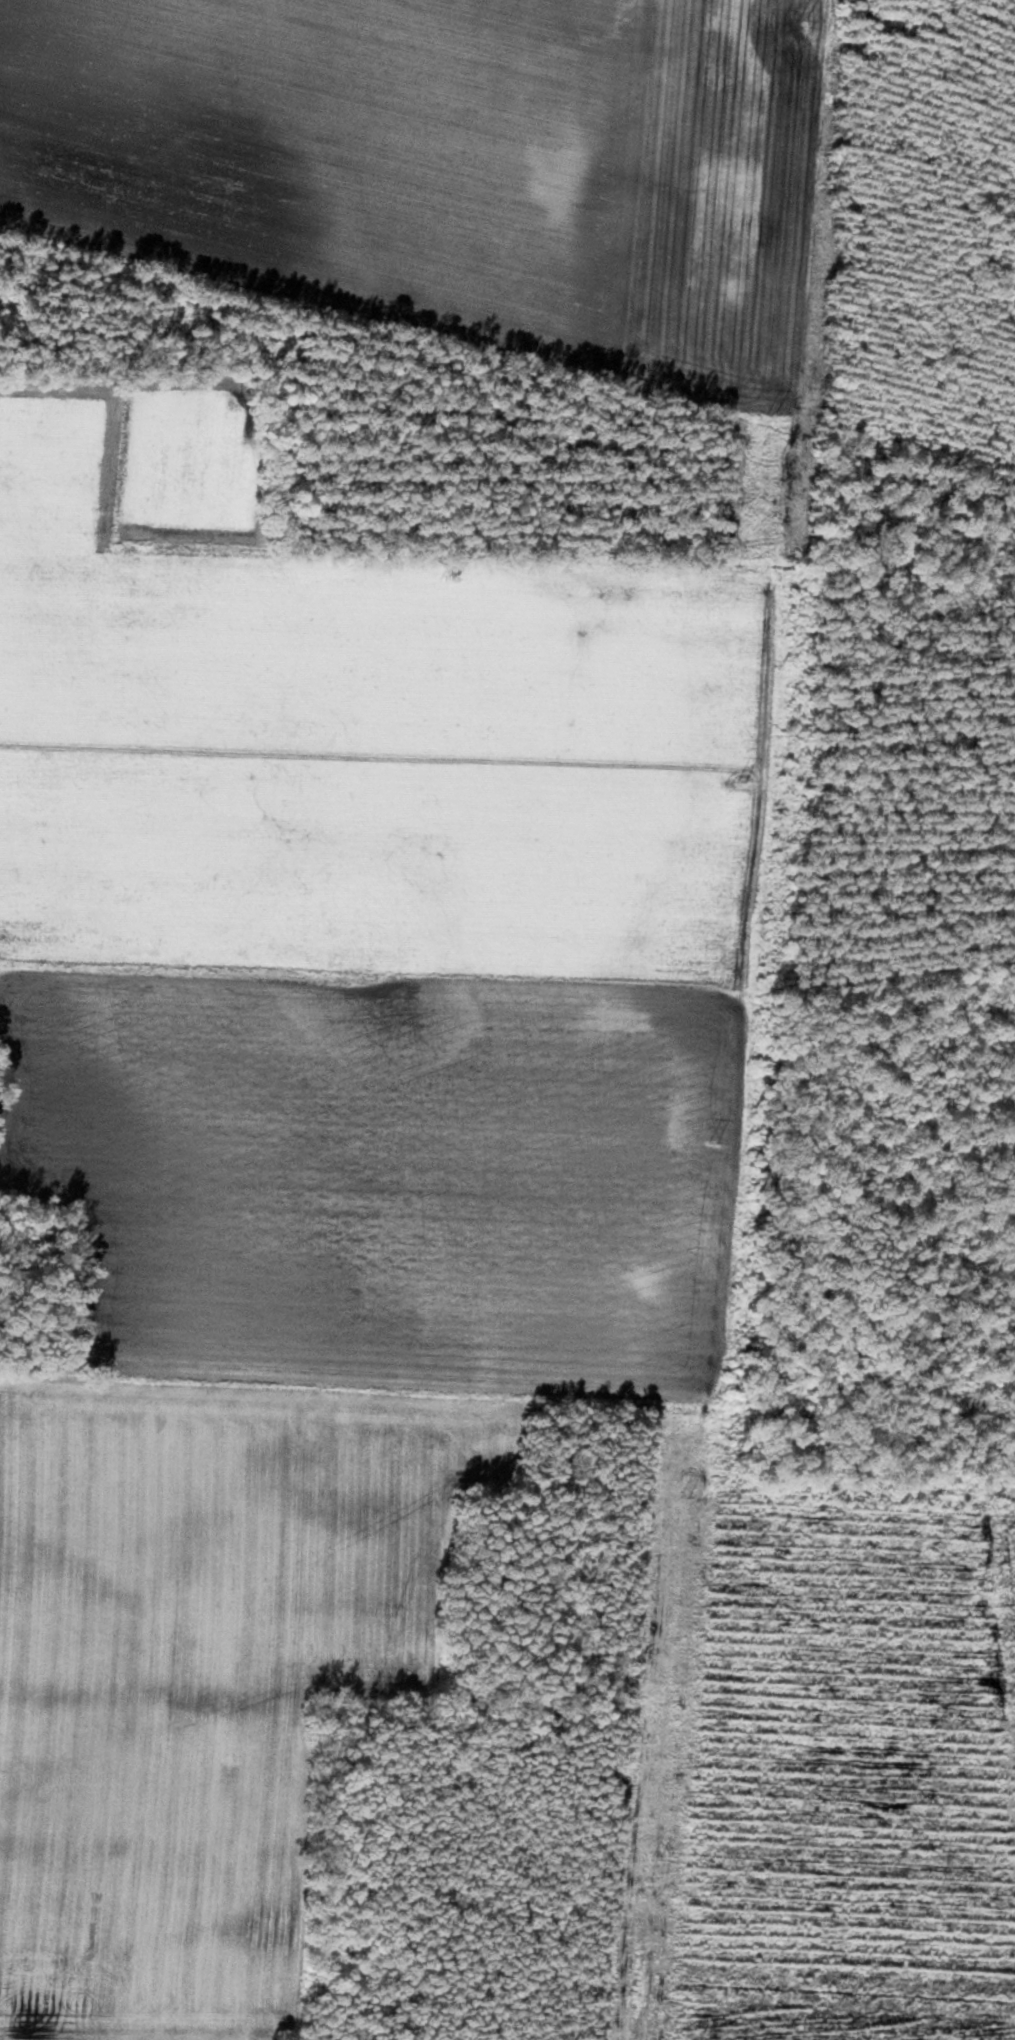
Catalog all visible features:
power tower: (804, 17)
power tower: (773, 415)
power tower: (744, 778)
power tower: (715, 1142)
power tower: (687, 1497)
power tower: (658, 1857)

